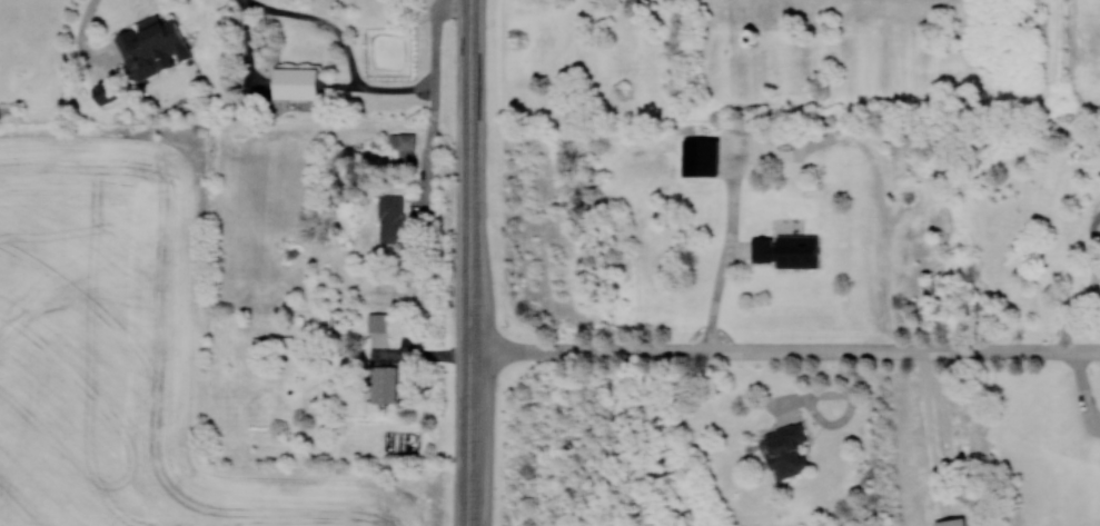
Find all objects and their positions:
road: (81, 40)
building: (153, 44)
road: (472, 66)
building: (296, 82)
road: (371, 89)
building: (106, 91)
building: (403, 147)
building: (701, 157)
building: (392, 218)
building: (786, 250)
road: (470, 298)
building: (377, 321)
road: (784, 350)
crop: (119, 353)
building: (384, 384)
building: (786, 450)
road: (468, 496)
building: (951, 522)

